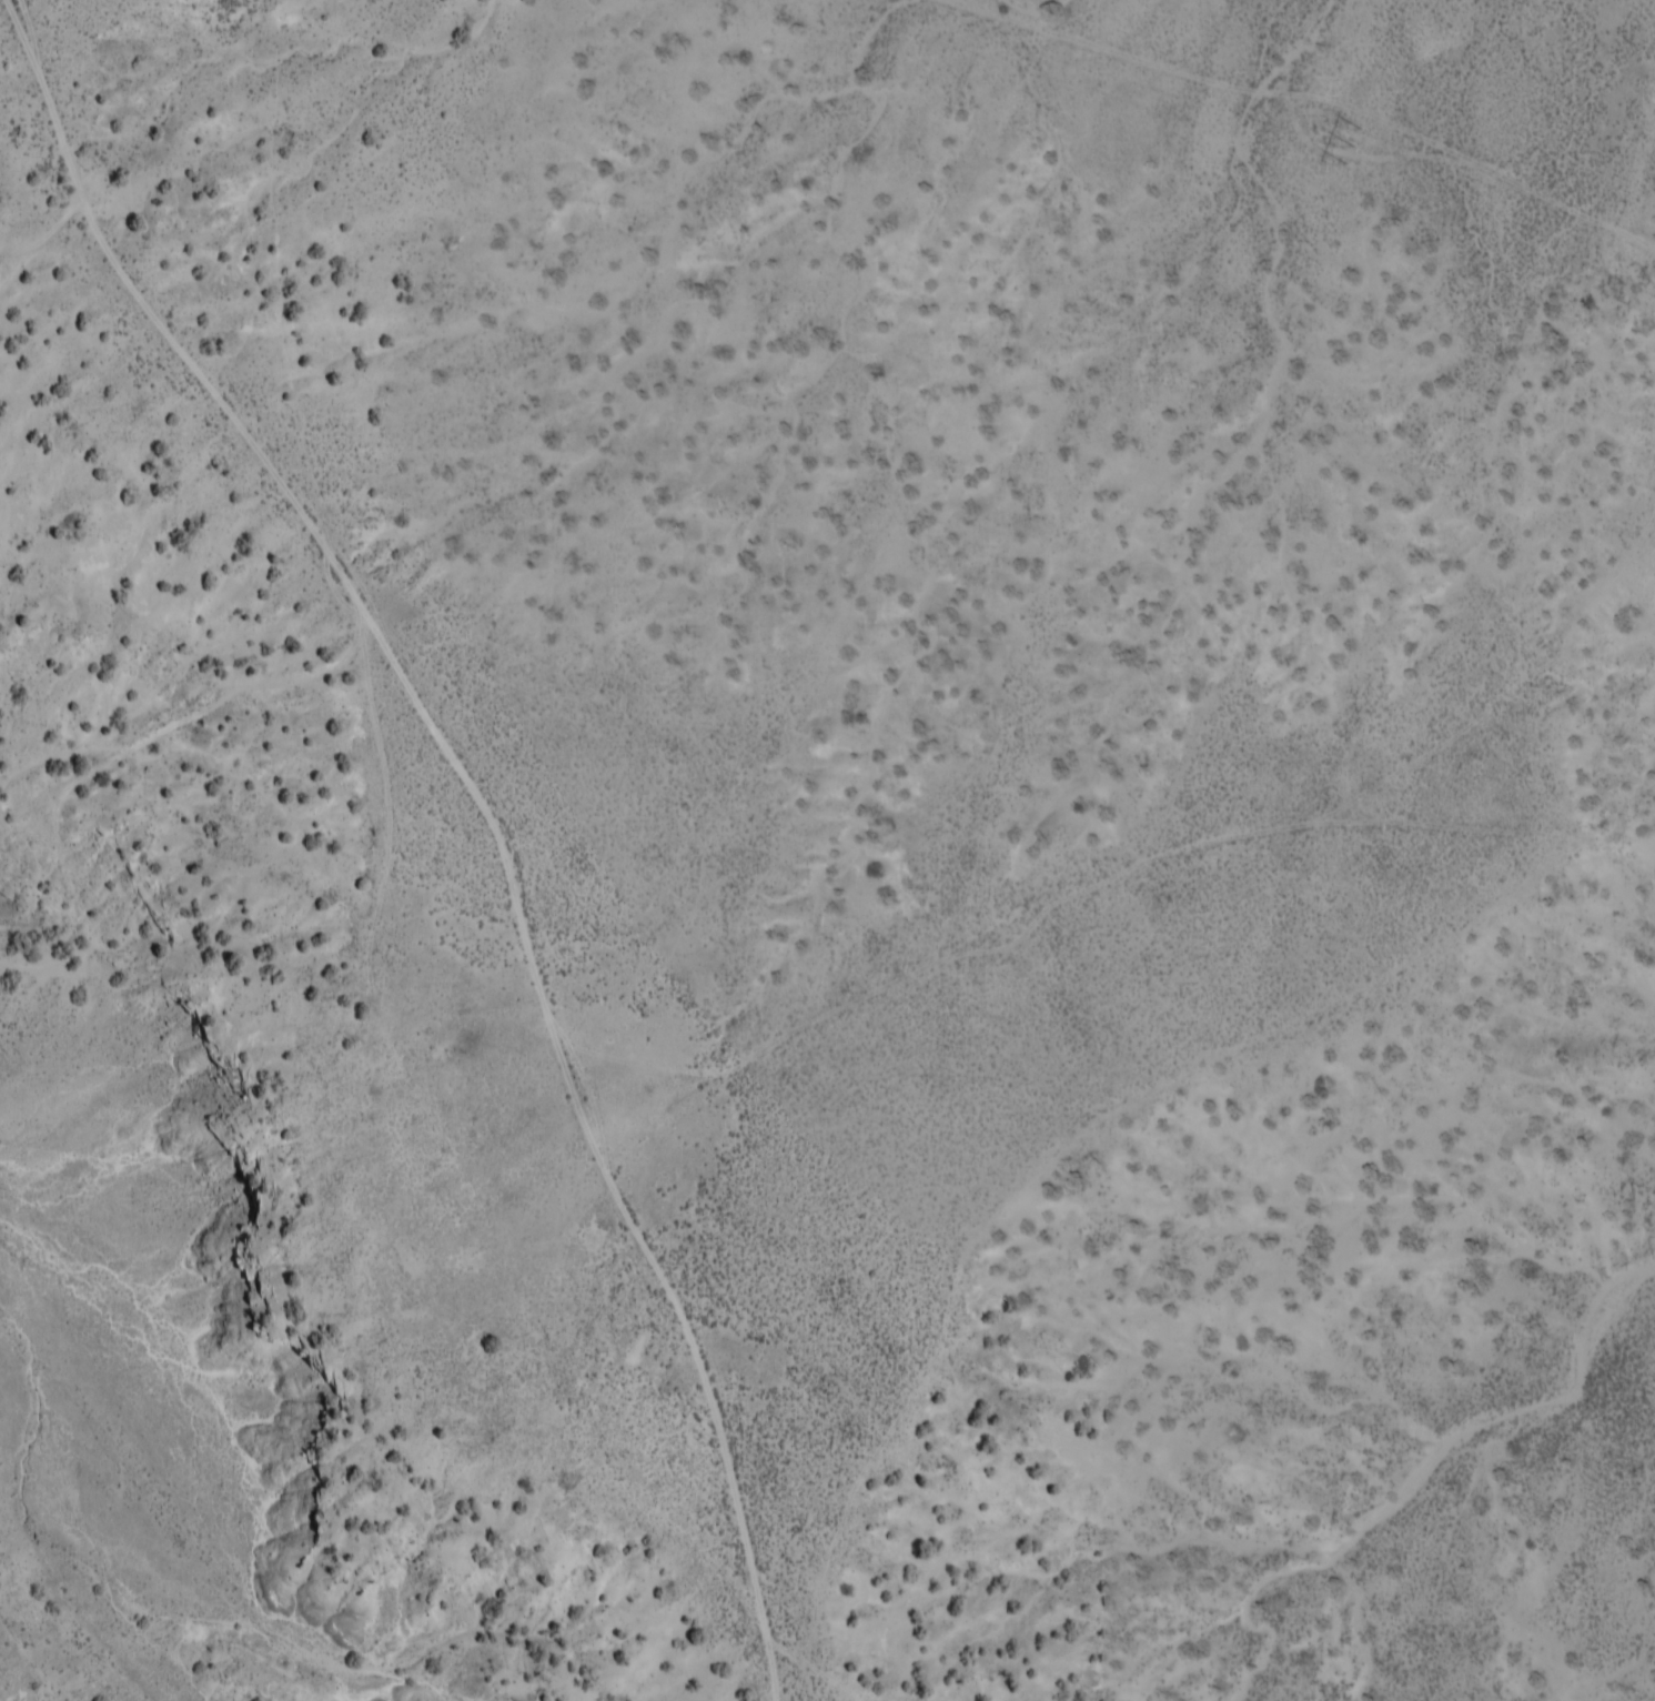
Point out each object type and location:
power tower: (1384, 152)
road: (152, 328)
road: (143, 794)
road: (593, 1148)

